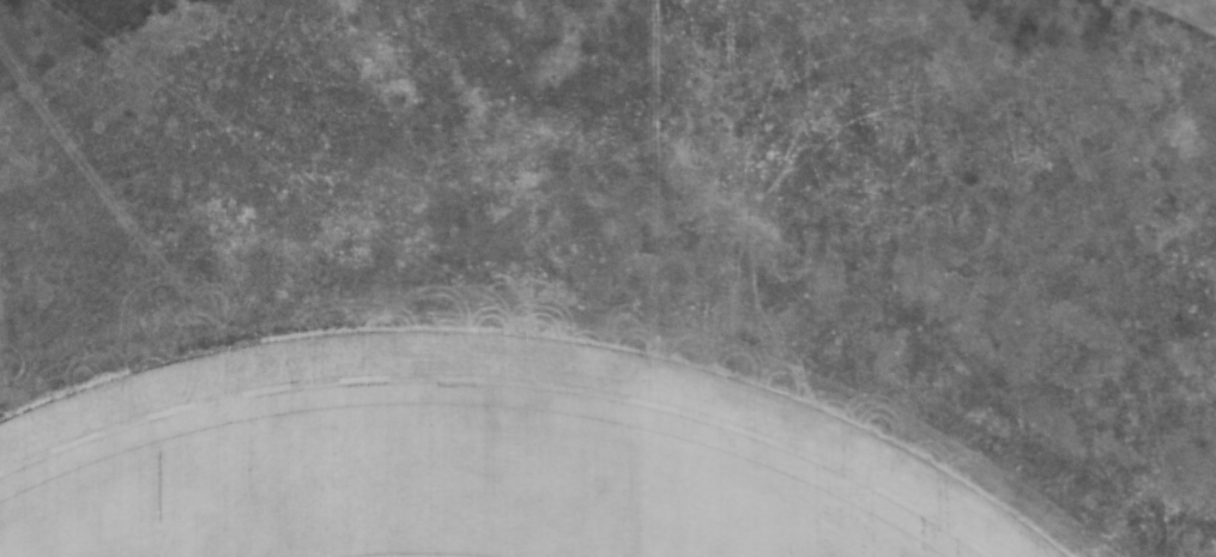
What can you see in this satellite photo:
crop: (613, 283)

